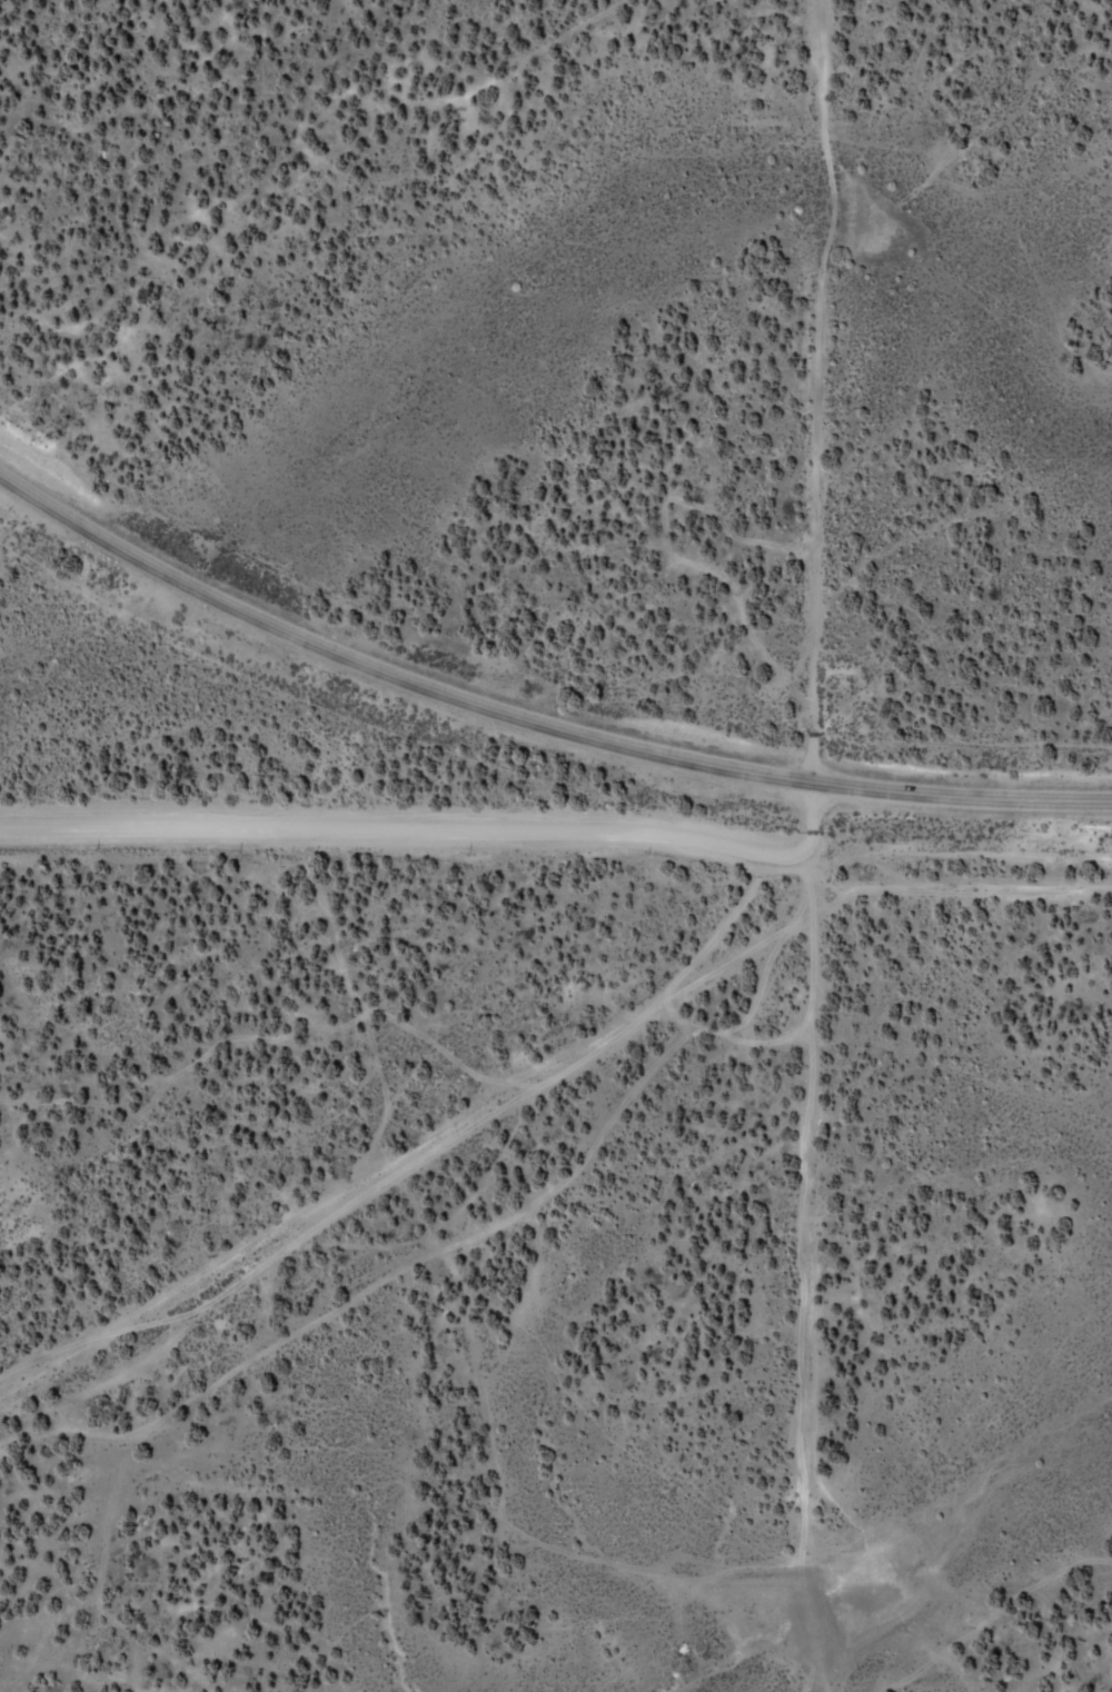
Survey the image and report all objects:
road: (822, 386)
road: (532, 707)
road: (443, 822)

